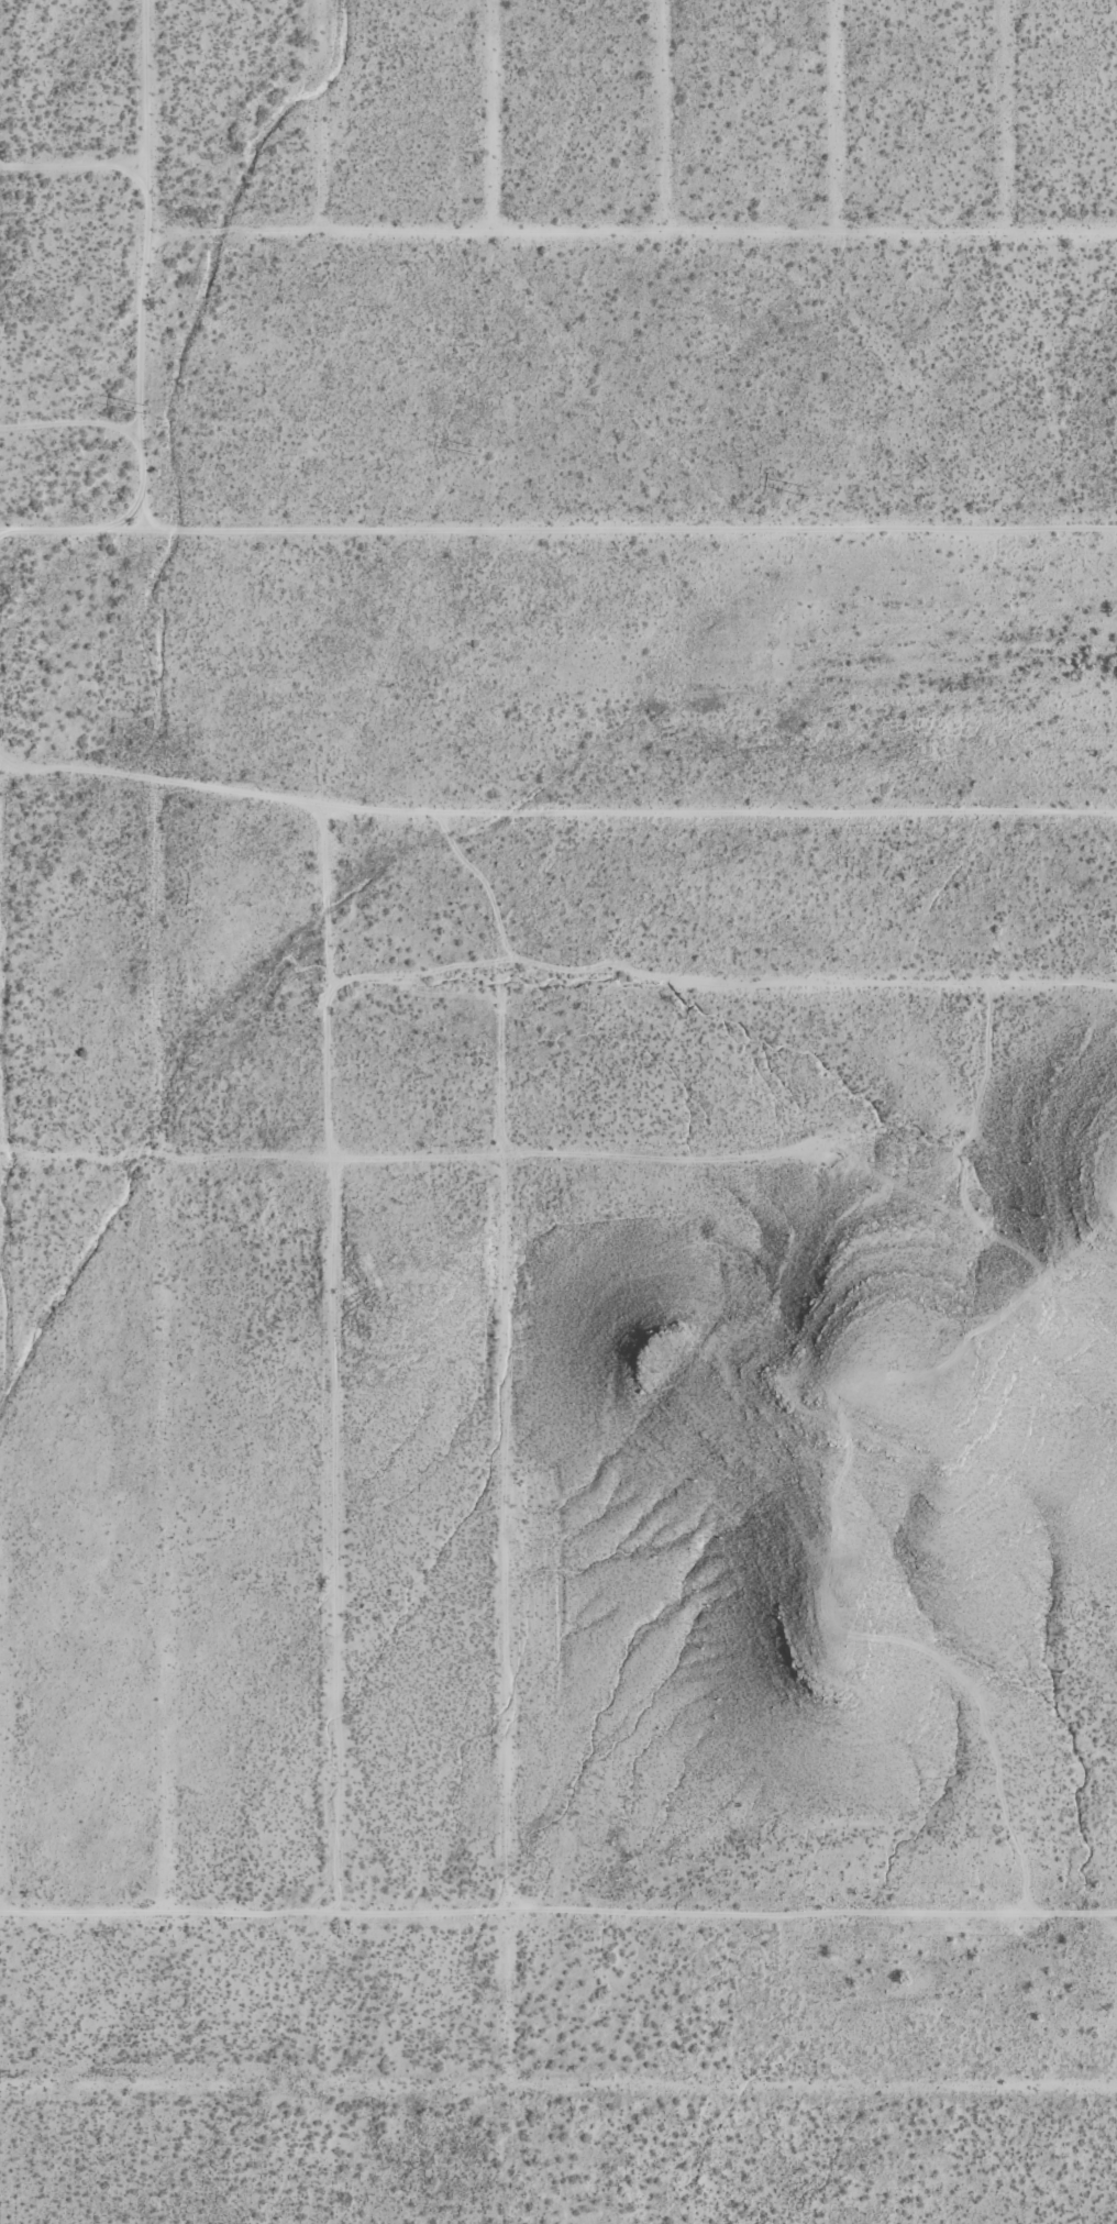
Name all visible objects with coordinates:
road: (317, 124)
road: (486, 125)
road: (659, 125)
road: (832, 125)
road: (1004, 125)
road: (71, 182)
road: (630, 251)
road: (143, 265)
road: (557, 529)
road: (556, 812)
road: (723, 981)
road: (79, 1157)
road: (335, 1158)
road: (159, 1354)
road: (333, 1367)
road: (504, 1534)
road: (557, 1915)
road: (558, 2087)

